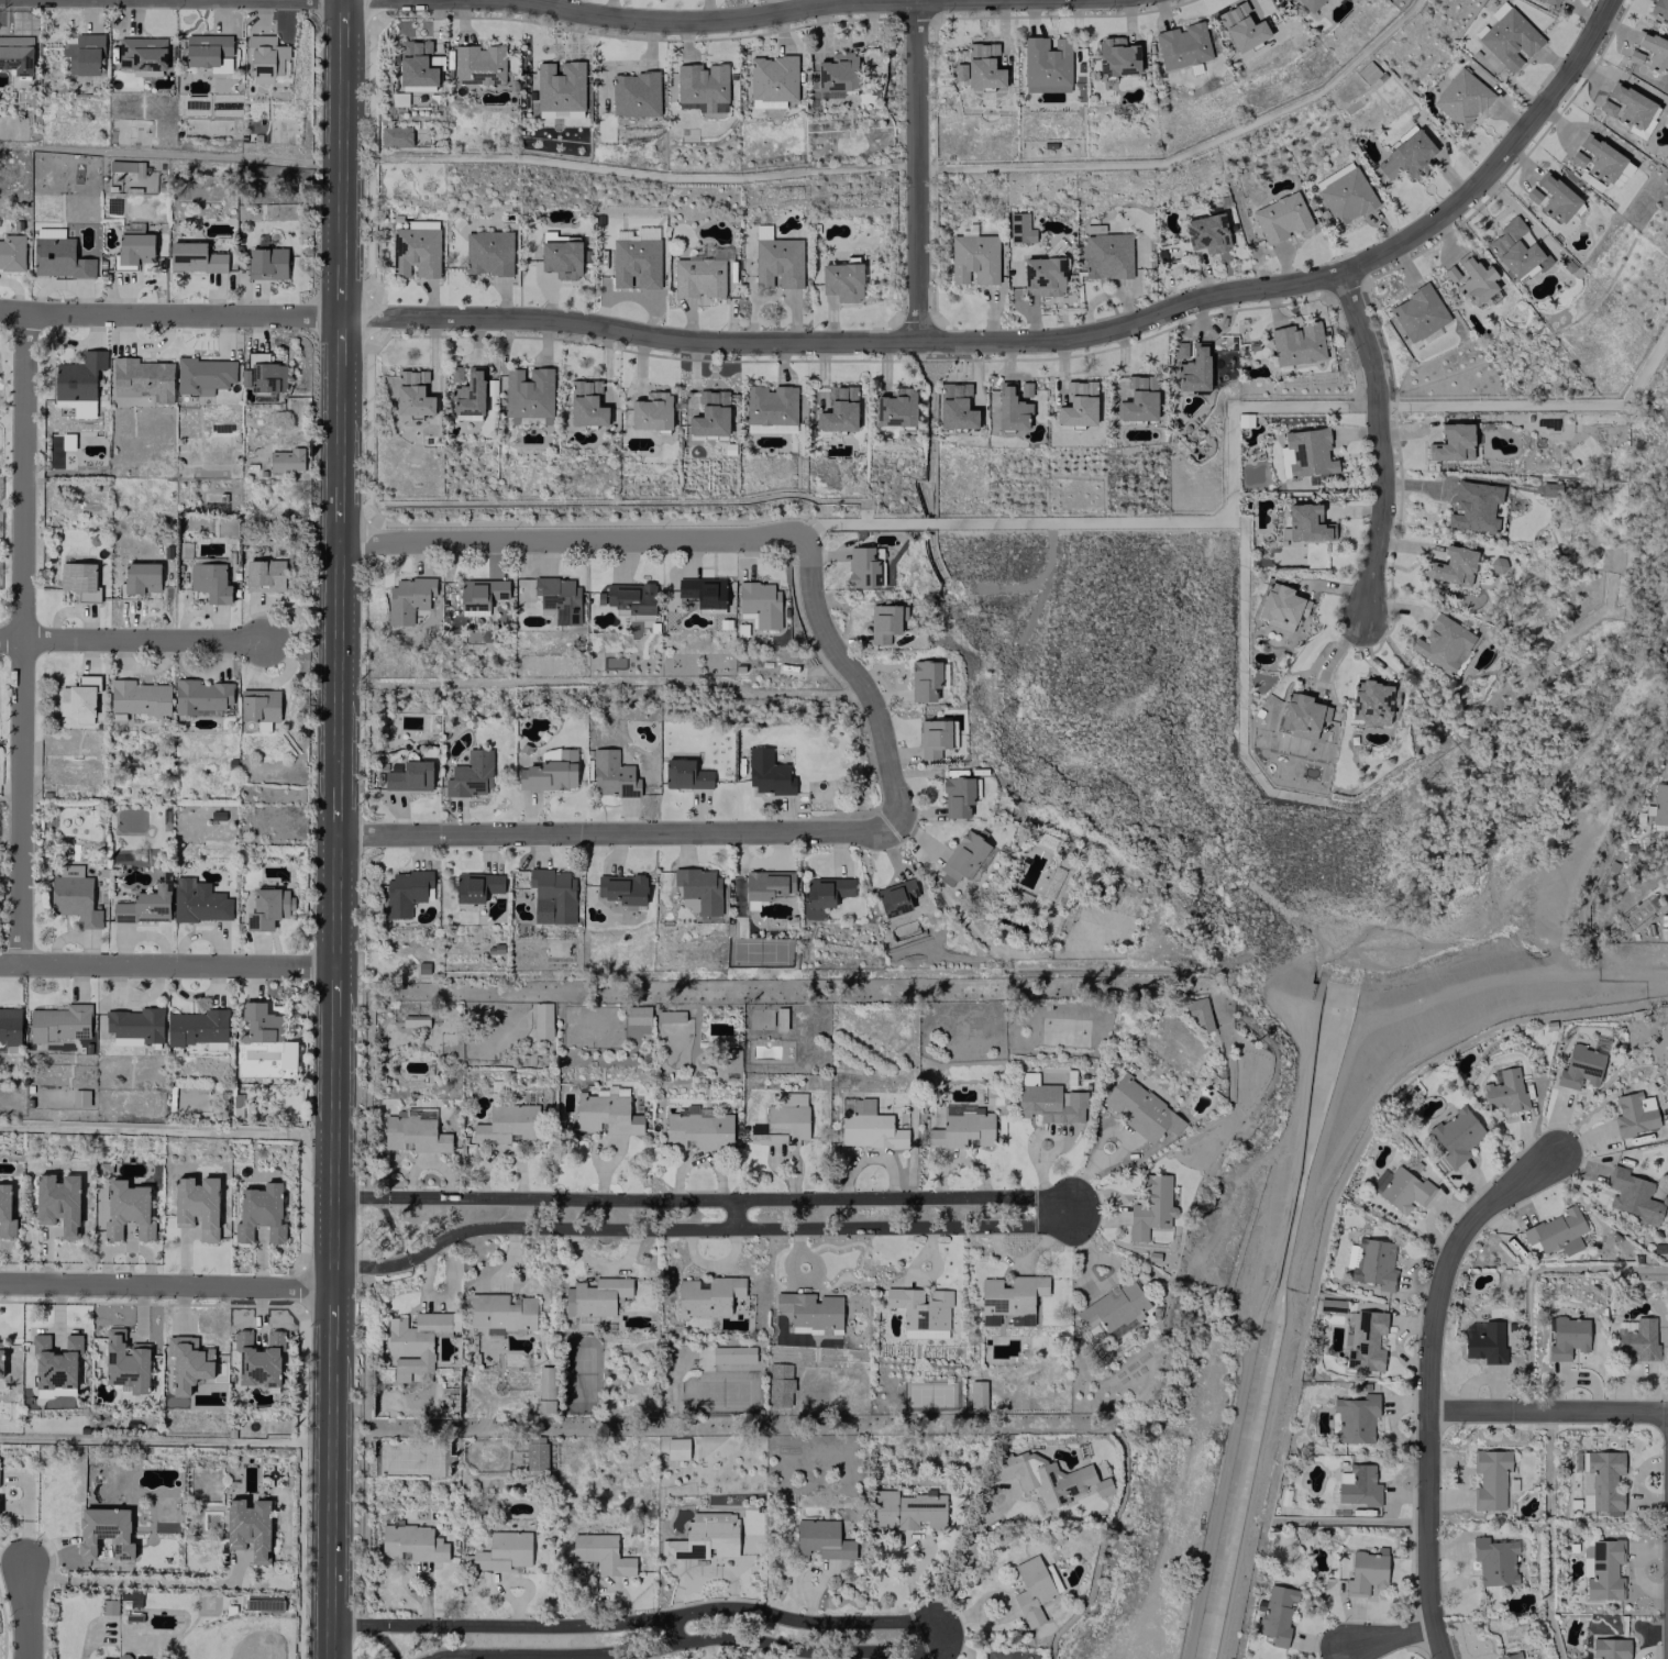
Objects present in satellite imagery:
building: (1549, 1)
building: (1310, 3)
building: (1659, 9)
road: (683, 19)
building: (1241, 26)
building: (1509, 38)
building: (1182, 45)
building: (206, 48)
building: (1653, 51)
building: (84, 53)
building: (141, 53)
building: (16, 54)
building: (265, 55)
building: (1117, 56)
building: (1634, 56)
building: (416, 64)
building: (478, 64)
building: (1046, 64)
building: (221, 65)
building: (983, 65)
building: (961, 70)
building: (1367, 71)
building: (837, 74)
building: (772, 80)
building: (703, 85)
building: (560, 86)
building: (634, 93)
building: (1461, 98)
building: (1627, 106)
building: (560, 113)
building: (395, 135)
building: (1406, 156)
building: (1577, 157)
road: (1499, 159)
building: (1604, 159)
road: (918, 168)
building: (1334, 173)
building: (1532, 195)
building: (1346, 196)
building: (1556, 197)
building: (1280, 217)
building: (1019, 228)
building: (1207, 232)
building: (133, 250)
building: (11, 251)
building: (415, 251)
building: (1515, 251)
building: (487, 252)
building: (1106, 253)
building: (57, 254)
building: (195, 257)
building: (561, 257)
building: (973, 257)
building: (636, 262)
building: (777, 262)
building: (266, 263)
building: (1043, 275)
building: (698, 277)
building: (1471, 278)
building: (841, 280)
building: (1417, 313)
road: (674, 336)
building: (1296, 343)
building: (1181, 349)
building: (1194, 368)
building: (455, 373)
building: (203, 374)
building: (141, 381)
building: (79, 383)
building: (1025, 388)
building: (468, 392)
building: (529, 394)
building: (412, 395)
building: (1139, 399)
building: (586, 403)
building: (1078, 403)
building: (955, 406)
building: (895, 407)
building: (770, 408)
building: (1010, 408)
building: (839, 409)
building: (651, 410)
building: (710, 413)
road: (1378, 441)
building: (1451, 442)
building: (286, 460)
building: (1473, 505)
building: (1308, 522)
road: (573, 539)
building: (1452, 565)
building: (863, 567)
building: (264, 575)
road: (1039, 576)
building: (141, 577)
building: (79, 579)
building: (209, 582)
building: (703, 590)
building: (480, 593)
building: (631, 597)
building: (408, 598)
building: (557, 598)
building: (760, 602)
building: (1281, 606)
building: (885, 621)
road: (24, 635)
road: (133, 637)
building: (1441, 643)
building: (926, 678)
road: (858, 681)
building: (200, 695)
building: (79, 697)
building: (139, 697)
building: (1373, 701)
building: (259, 704)
building: (1302, 715)
building: (932, 738)
building: (549, 772)
building: (767, 773)
building: (470, 774)
building: (612, 774)
building: (685, 774)
building: (409, 776)
building: (957, 796)
building: (1659, 804)
road: (335, 829)
road: (617, 831)
building: (962, 858)
building: (769, 884)
building: (476, 886)
building: (622, 888)
building: (700, 888)
building: (405, 891)
building: (824, 894)
building: (552, 895)
building: (74, 896)
building: (896, 898)
building: (146, 900)
building: (198, 900)
building: (267, 907)
road: (167, 961)
building: (1200, 1011)
building: (637, 1014)
building: (670, 1015)
building: (780, 1018)
building: (541, 1019)
building: (415, 1020)
building: (60, 1022)
building: (10, 1026)
building: (135, 1026)
building: (198, 1028)
building: (732, 1059)
building: (1580, 1065)
building: (1505, 1091)
building: (80, 1097)
building: (1049, 1103)
building: (1140, 1108)
building: (606, 1113)
building: (1633, 1115)
building: (782, 1119)
building: (507, 1124)
building: (868, 1125)
building: (697, 1129)
building: (962, 1129)
building: (415, 1132)
building: (1455, 1136)
building: (1404, 1190)
road: (358, 1195)
road: (1313, 1196)
building: (1633, 1196)
building: (58, 1202)
building: (197, 1205)
road: (1075, 1206)
building: (1150, 1206)
building: (126, 1209)
road: (733, 1210)
building: (5, 1213)
building: (259, 1213)
road: (393, 1228)
building: (1556, 1231)
building: (1370, 1262)
road: (369, 1265)
road: (166, 1282)
building: (708, 1295)
building: (596, 1296)
building: (1010, 1298)
building: (1328, 1304)
building: (920, 1307)
building: (1115, 1308)
building: (810, 1309)
building: (501, 1313)
building: (1566, 1337)
building: (1637, 1338)
building: (1366, 1339)
road: (1249, 1340)
building: (1484, 1340)
building: (415, 1341)
building: (732, 1353)
building: (257, 1358)
building: (1, 1359)
building: (125, 1362)
building: (188, 1362)
road: (1427, 1380)
building: (780, 1384)
building: (545, 1389)
building: (976, 1395)
road: (1546, 1411)
building: (1356, 1417)
building: (676, 1448)
building: (535, 1456)
building: (1049, 1478)
building: (1490, 1478)
building: (1604, 1479)
building: (1358, 1485)
building: (908, 1509)
building: (248, 1527)
building: (104, 1531)
building: (705, 1536)
building: (821, 1538)
building: (411, 1542)
building: (500, 1551)
building: (601, 1553)
road: (961, 1553)
building: (1494, 1560)
building: (1602, 1568)
road: (136, 1580)
building: (1031, 1589)
road: (1667, 1606)
road: (24, 1610)
building: (1277, 1613)
road: (936, 1623)
road: (357, 1625)
road: (671, 1629)
road: (1389, 1634)
road: (384, 1640)
building: (1609, 1648)
building: (1510, 1656)
building: (122, 1658)

